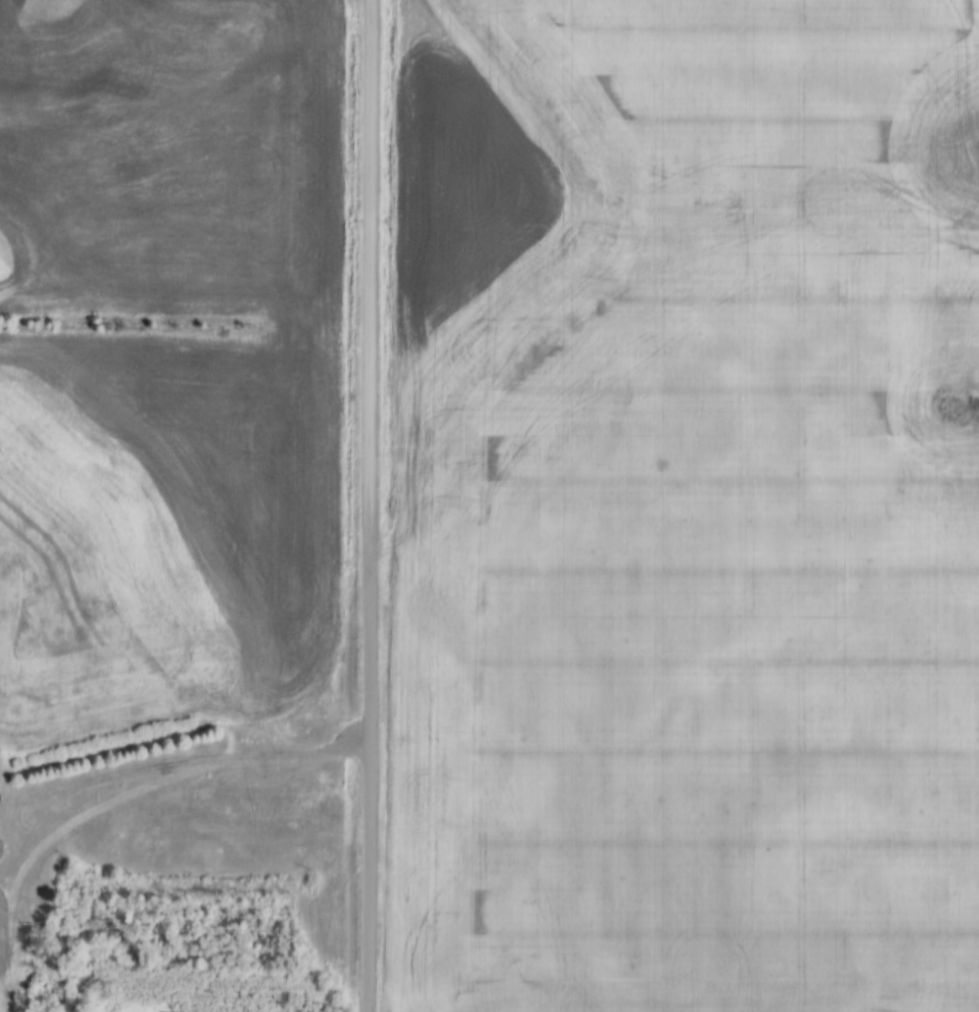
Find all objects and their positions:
road: (369, 506)
road: (181, 758)

